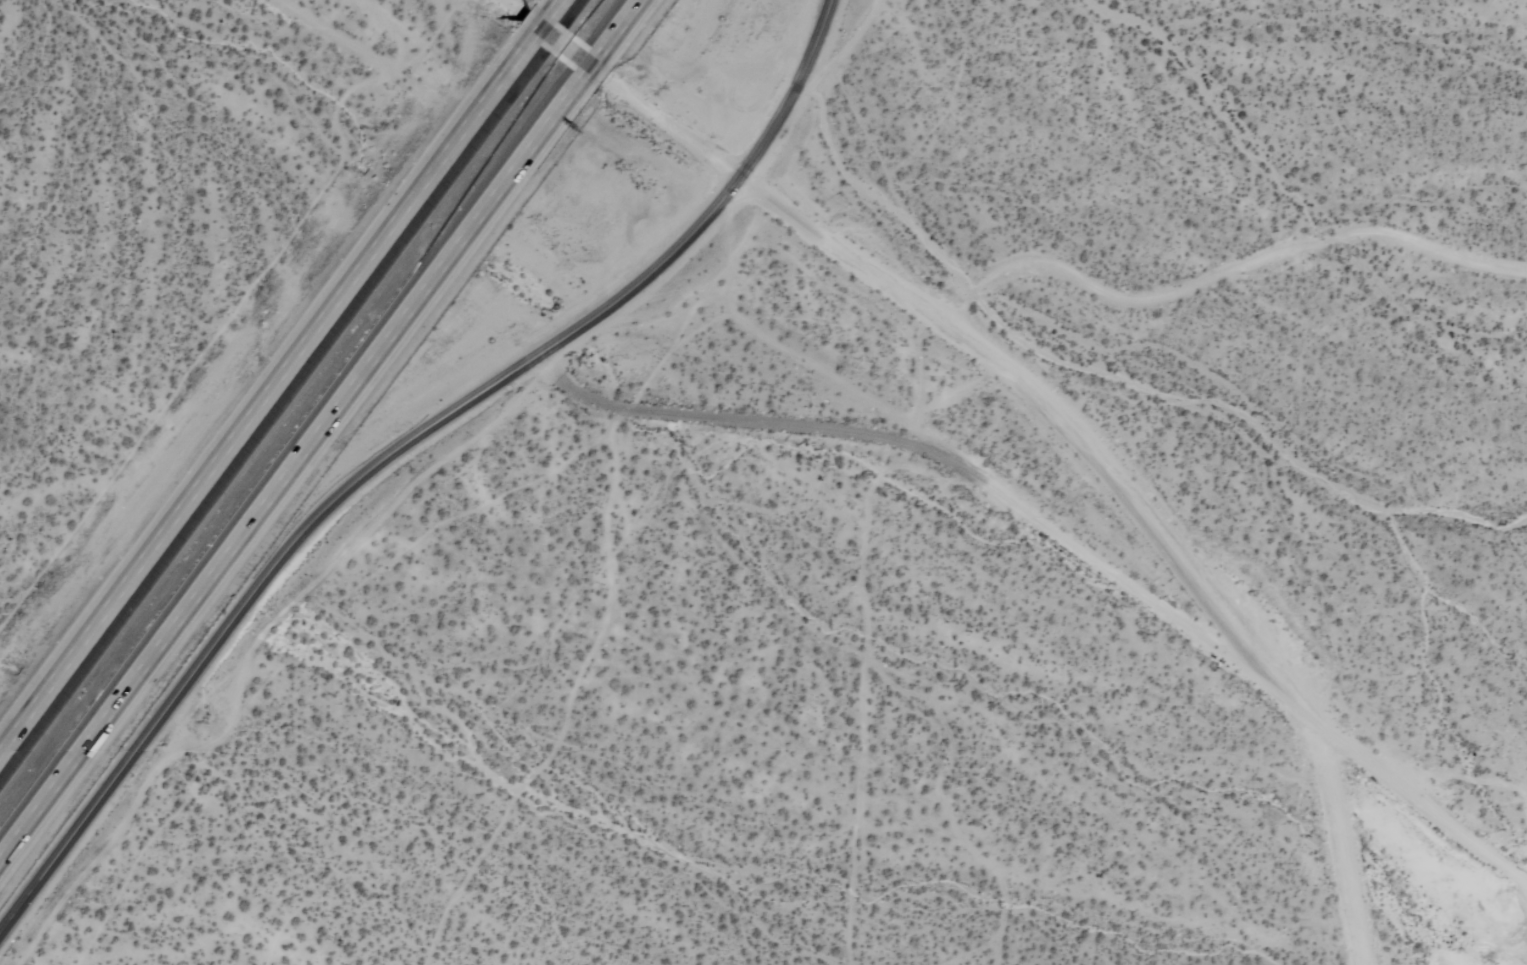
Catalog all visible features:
road: (550, 8)
road: (617, 27)
road: (535, 29)
road: (588, 67)
road: (727, 166)
road: (1222, 273)
road: (262, 400)
railway: (301, 404)
road: (404, 446)
road: (289, 463)
road: (1225, 611)
quarry: (1508, 899)

